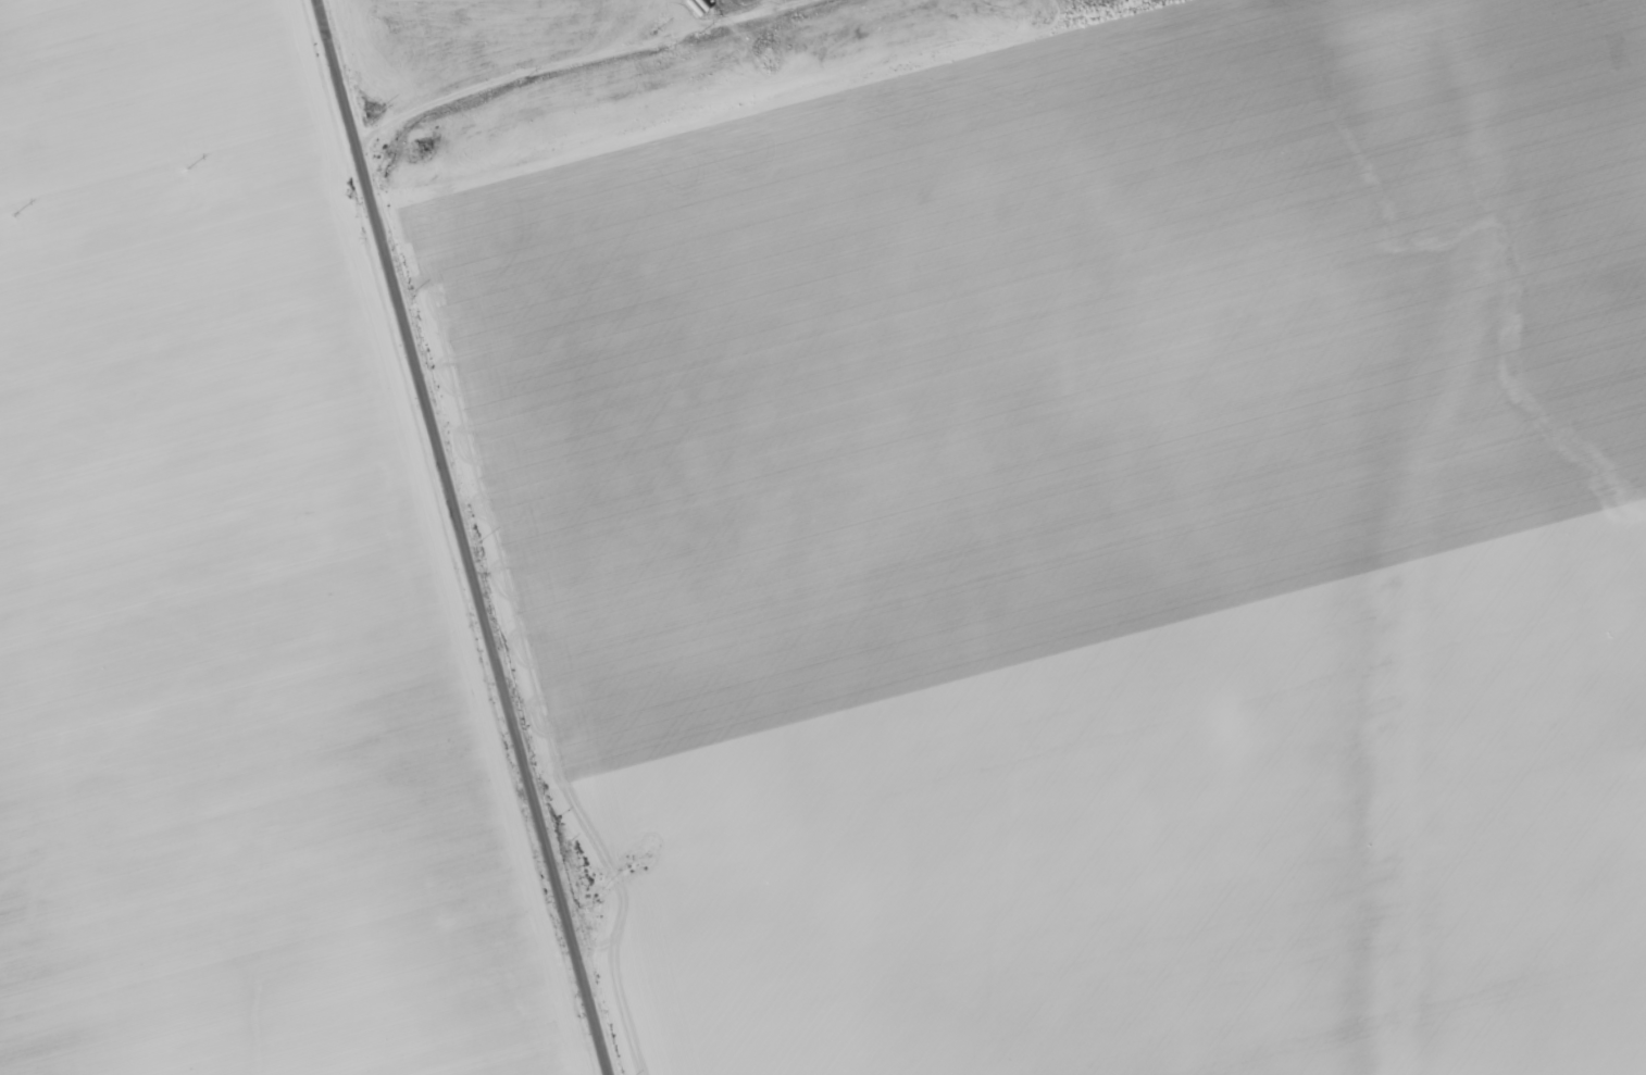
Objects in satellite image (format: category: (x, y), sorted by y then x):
road: (616, 75)
road: (452, 532)

